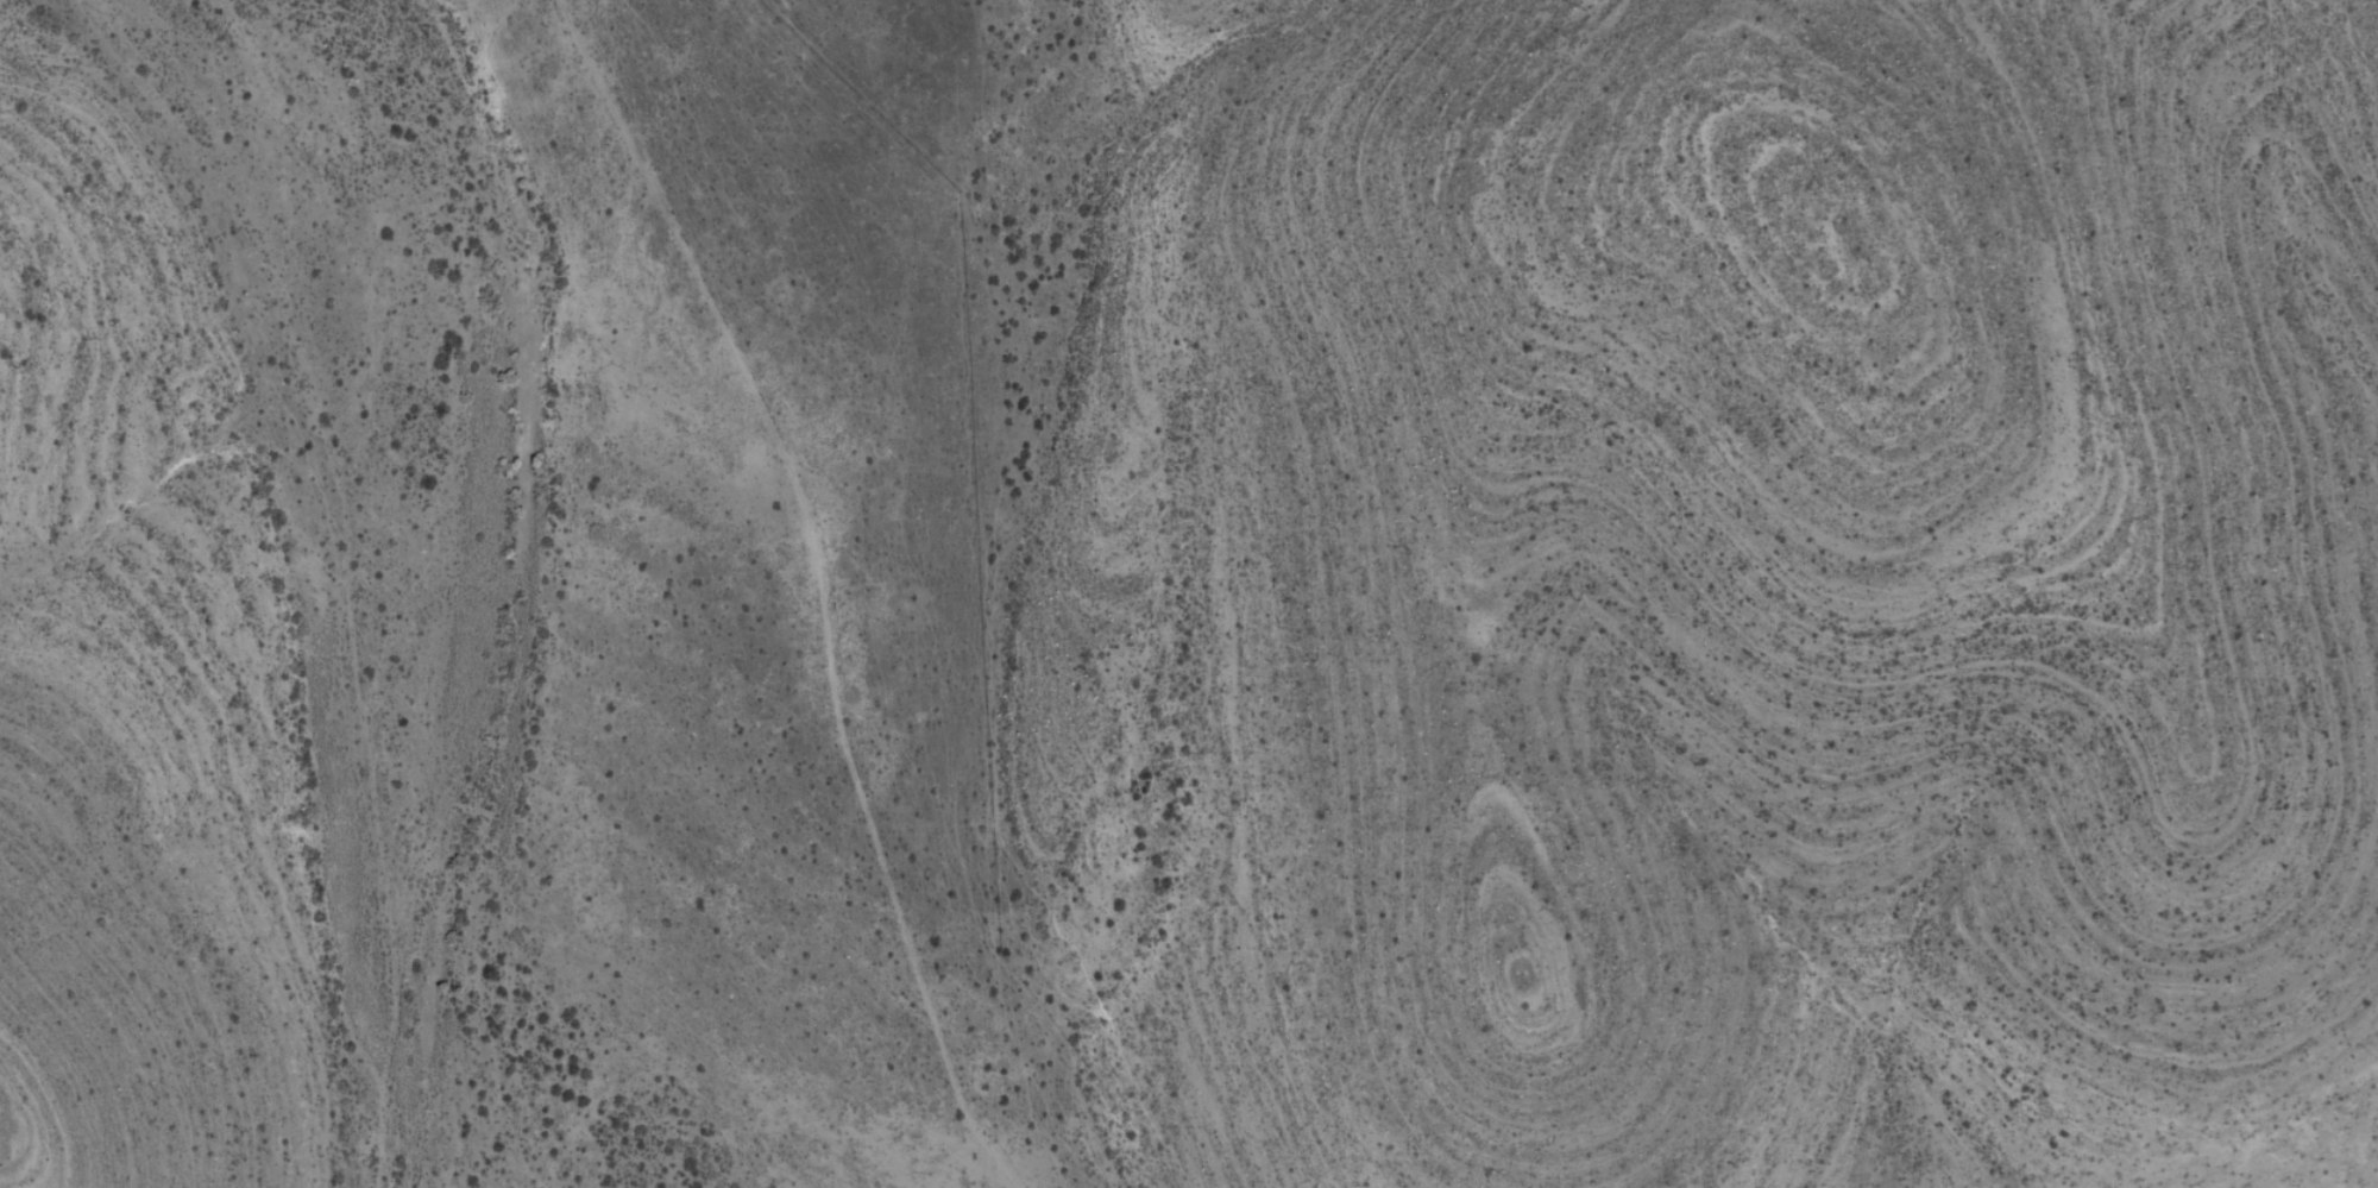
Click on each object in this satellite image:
road: (411, 561)

